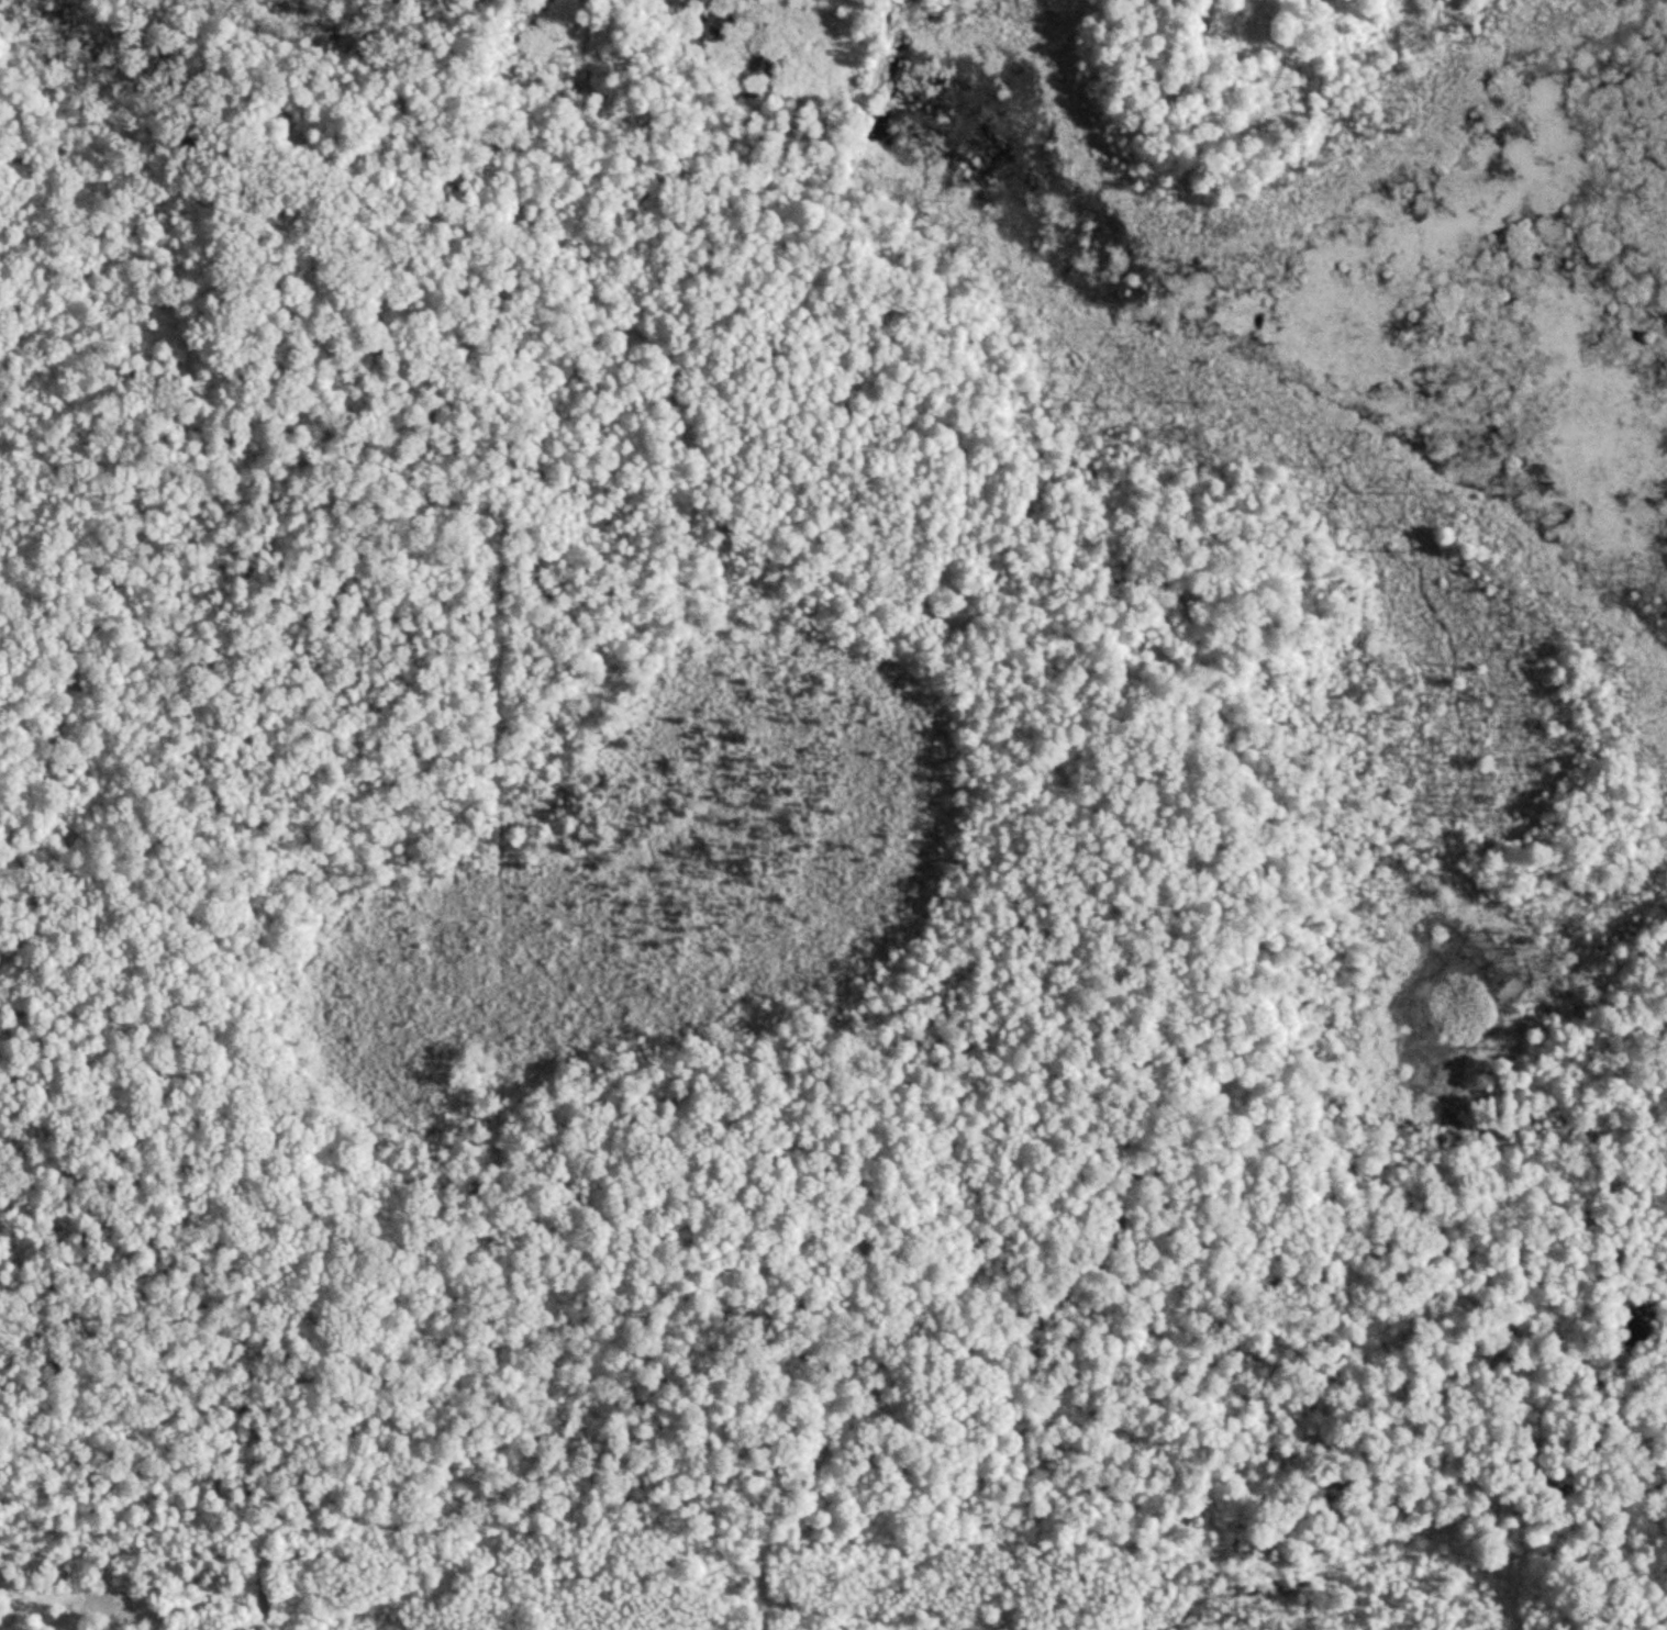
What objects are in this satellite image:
road: (137, 902)

